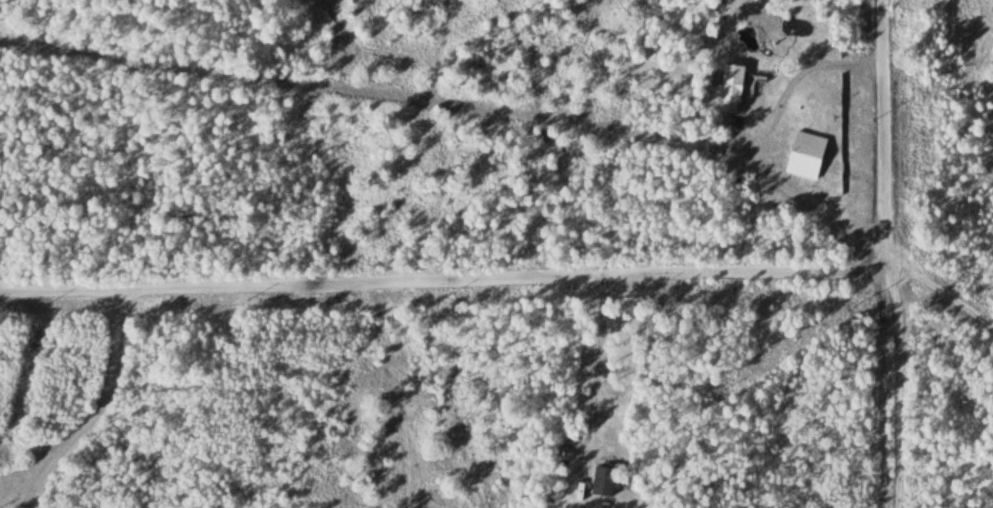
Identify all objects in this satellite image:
building: (731, 88)
road: (463, 105)
road: (893, 131)
building: (806, 154)
road: (446, 278)
road: (943, 294)
road: (886, 385)
building: (601, 483)

